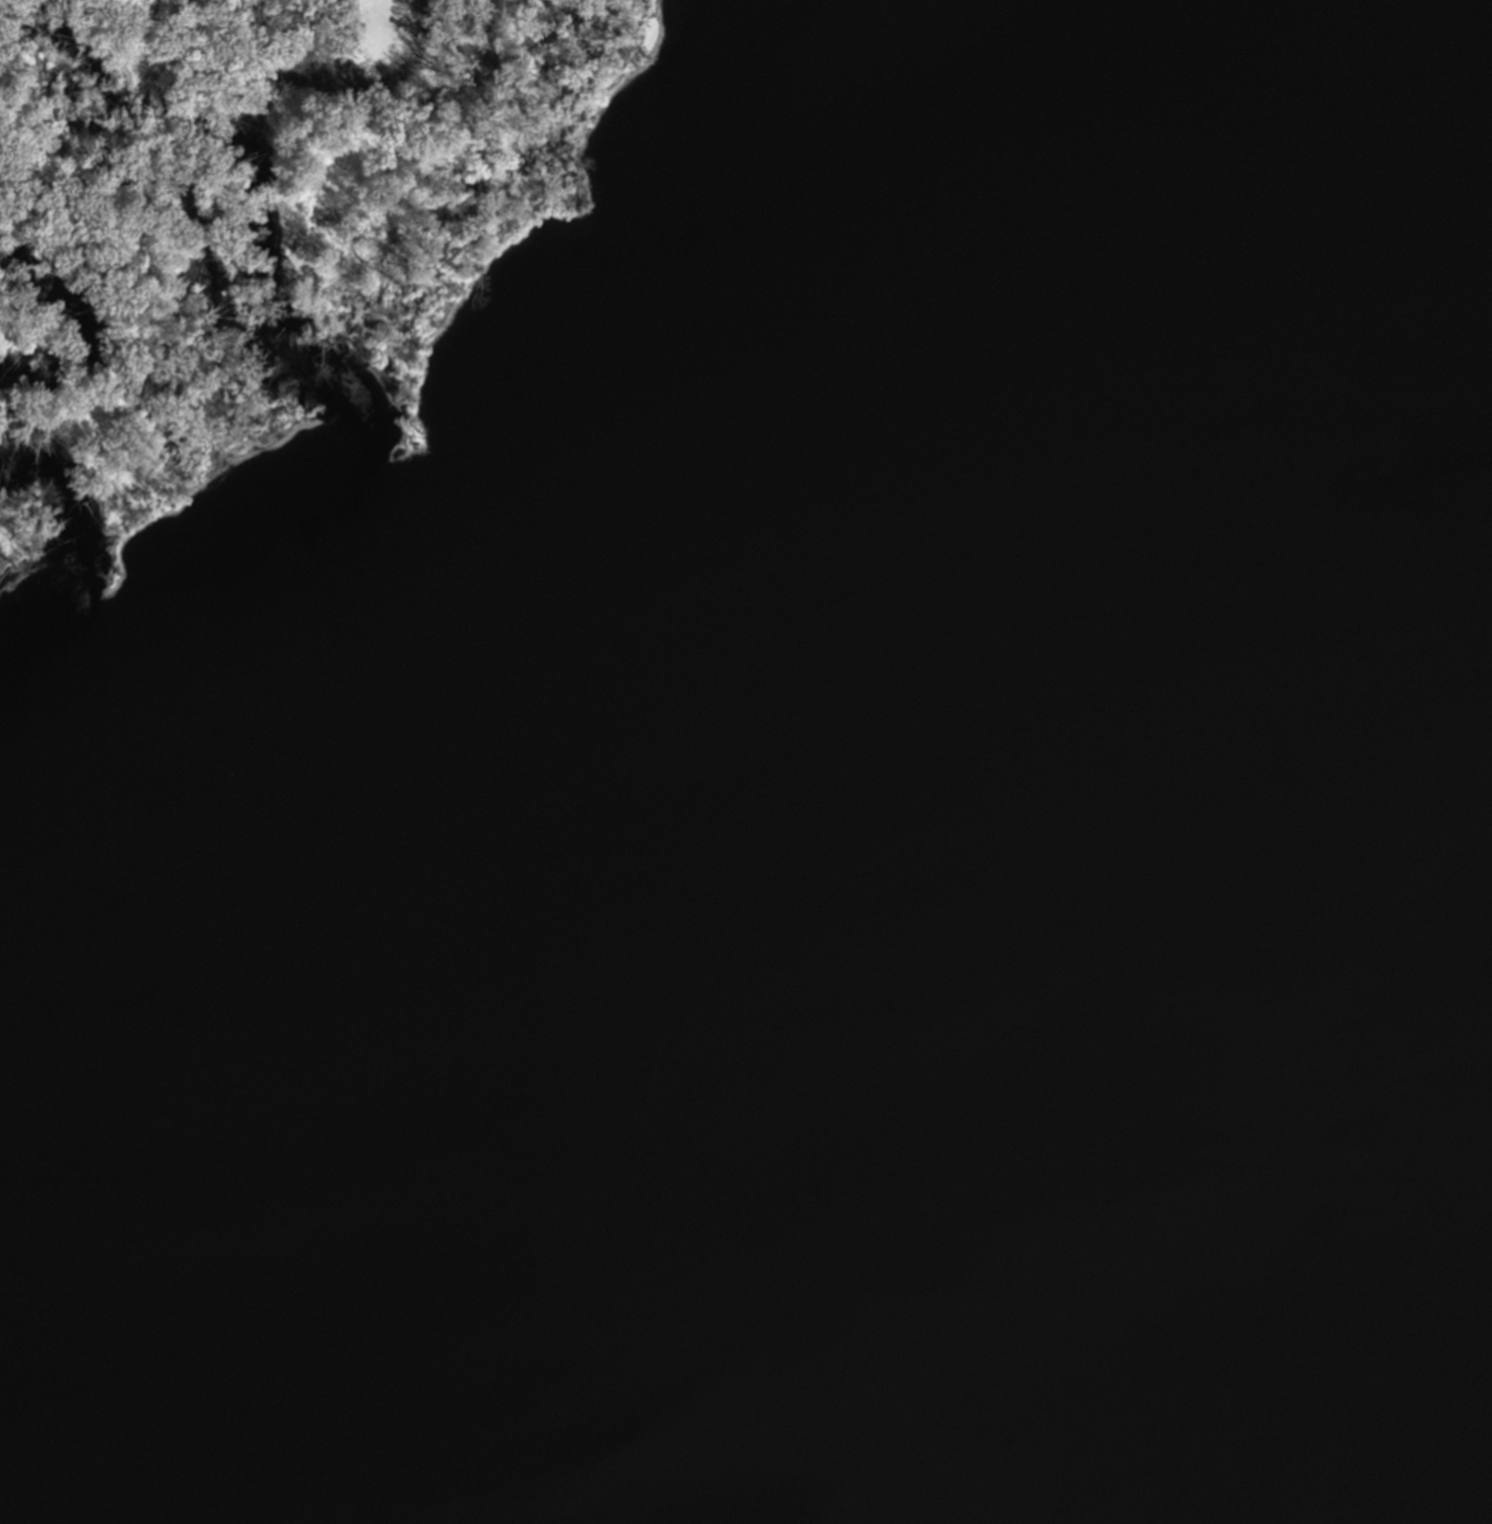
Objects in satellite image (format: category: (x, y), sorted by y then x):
river: (67, 303)
river: (70, 565)

